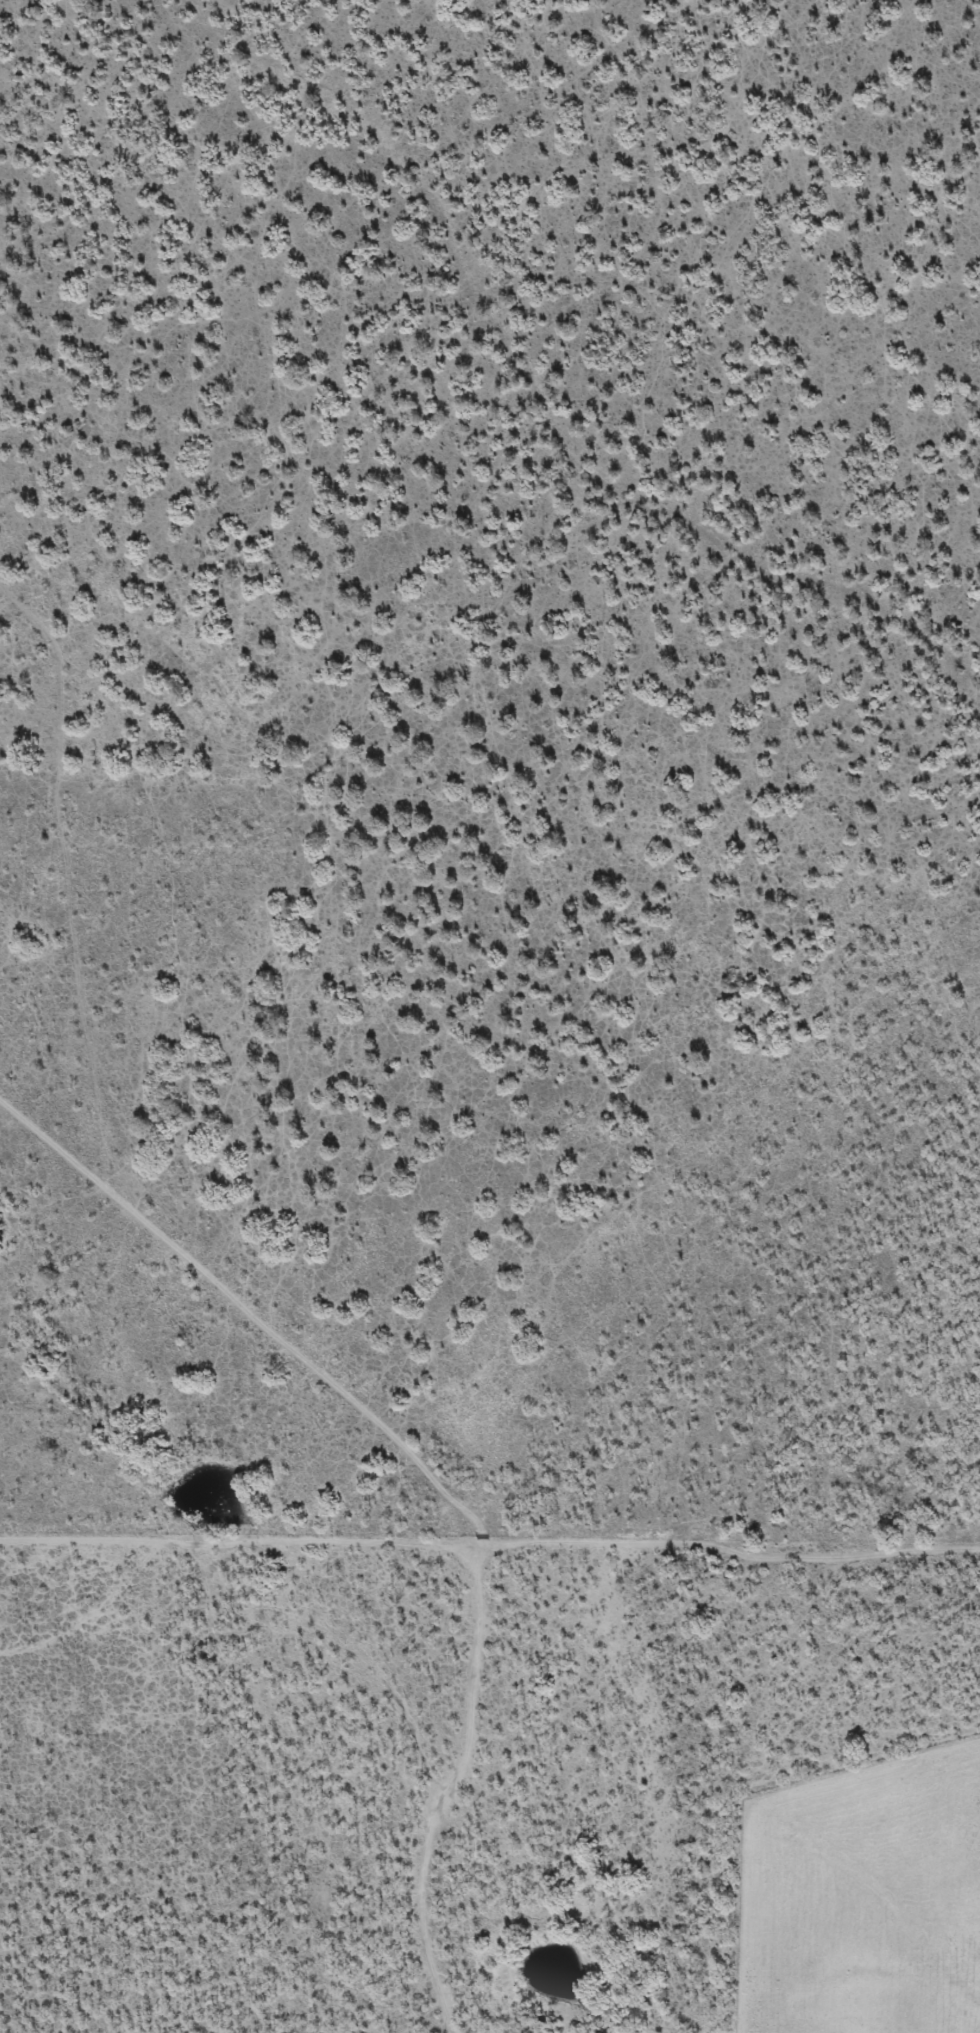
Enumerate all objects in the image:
road: (191, 1234)
road: (368, 1689)

